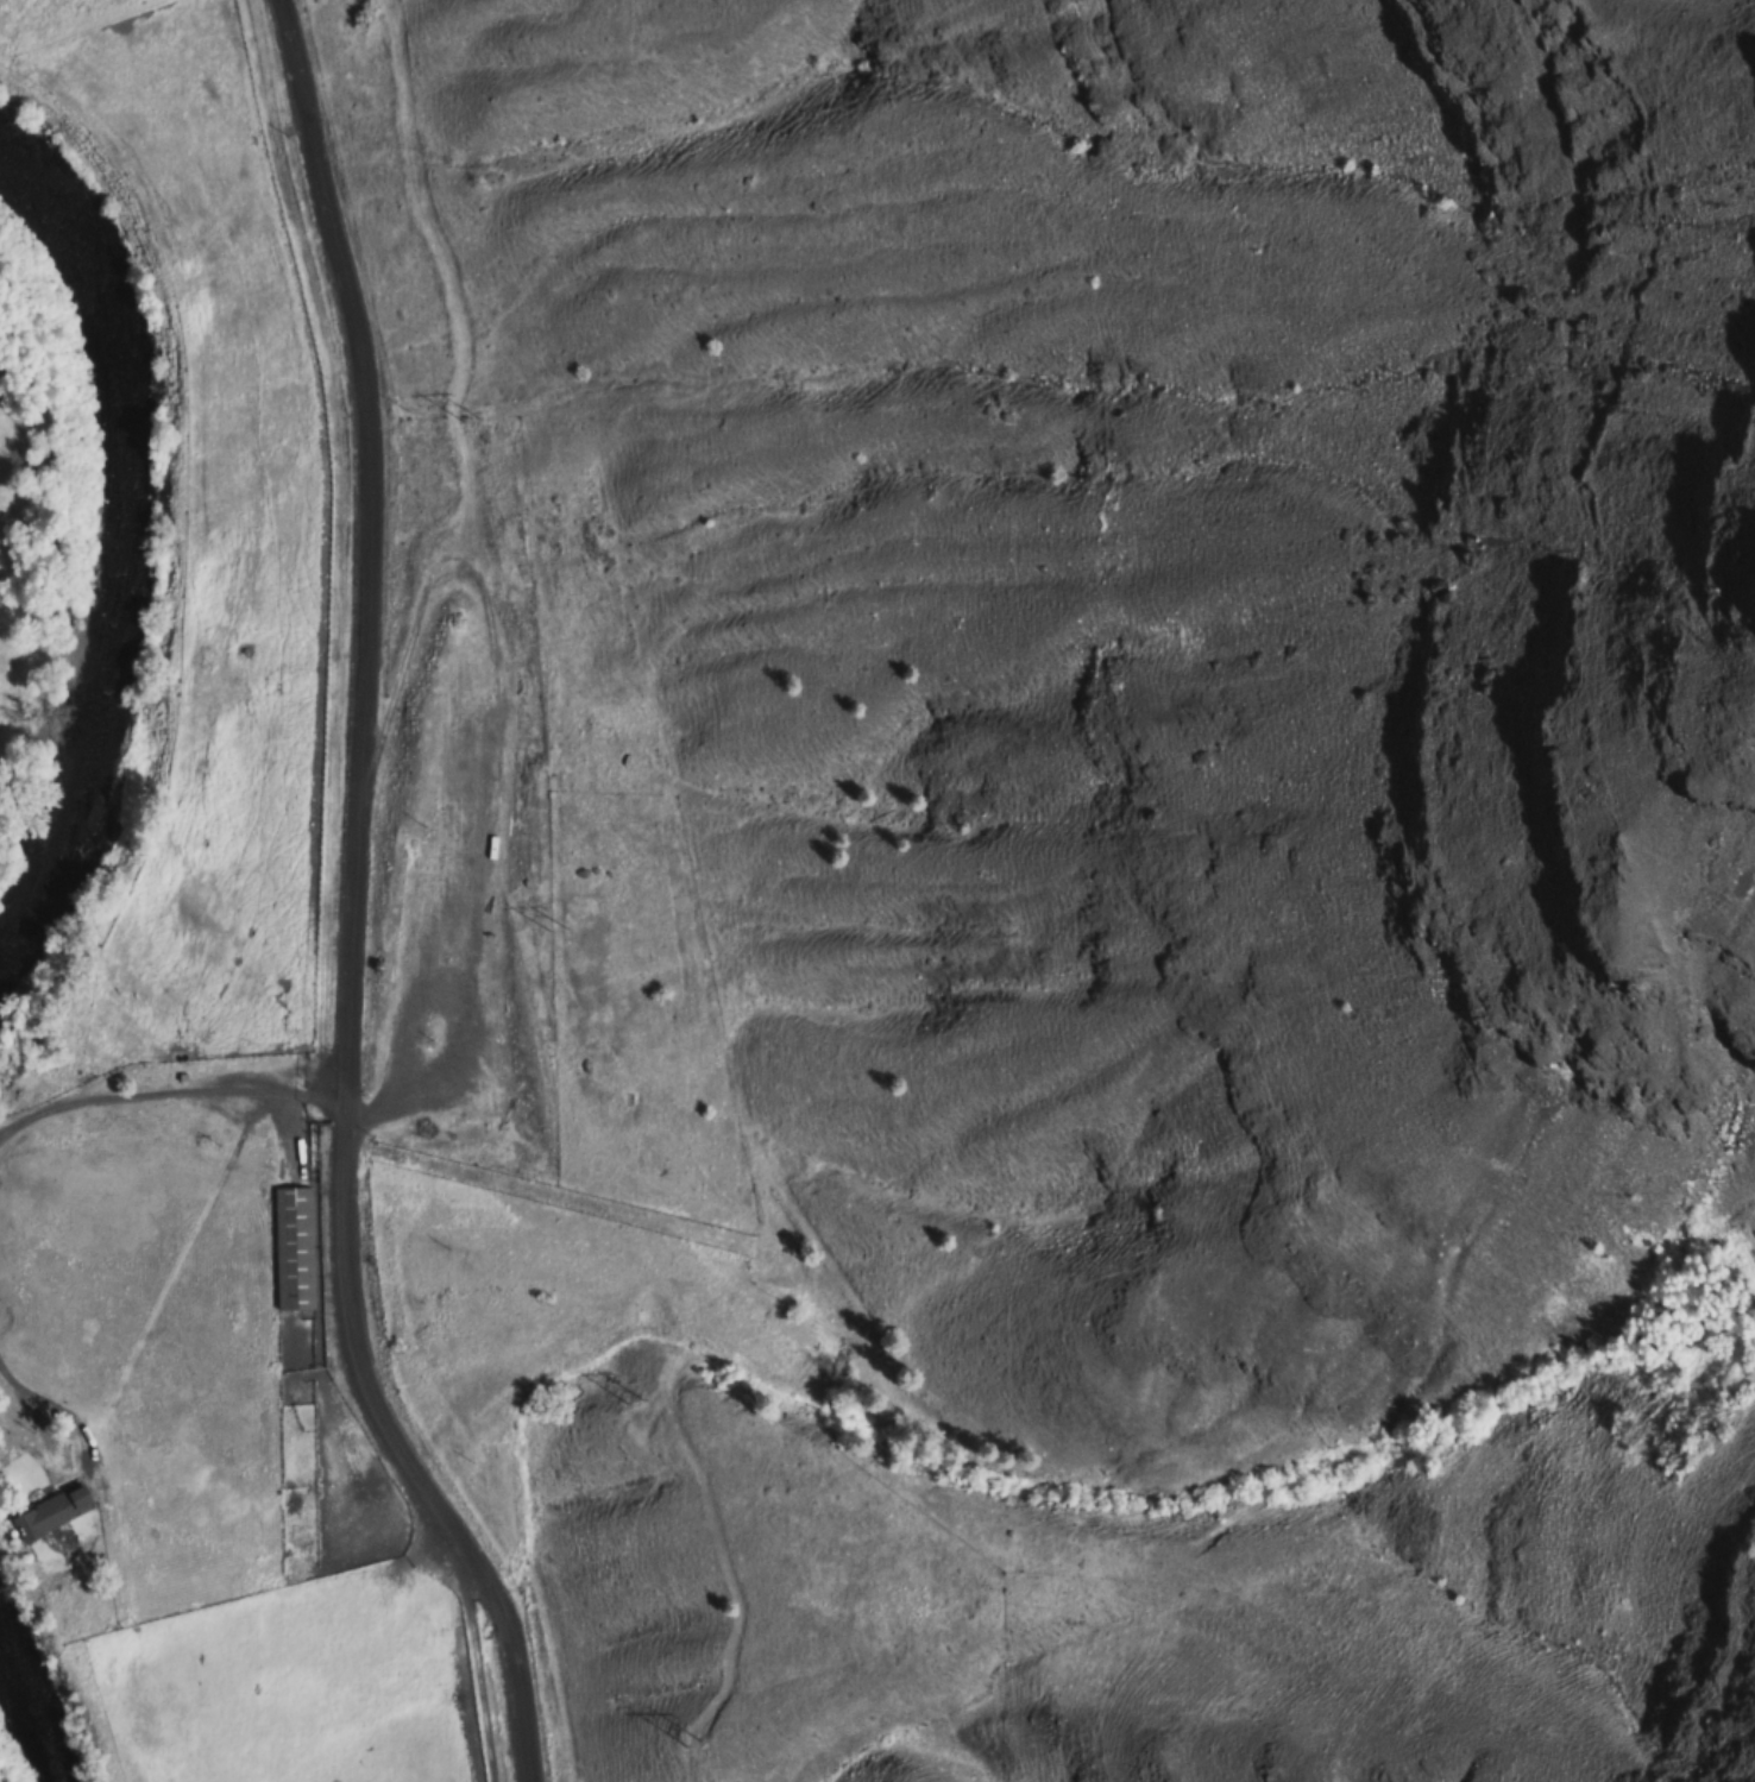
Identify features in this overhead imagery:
power tower: (460, 416)
river: (106, 567)
road: (344, 907)
power tower: (548, 930)
building: (294, 1249)
power tower: (633, 1402)
building: (51, 1513)
power tower: (688, 1744)

